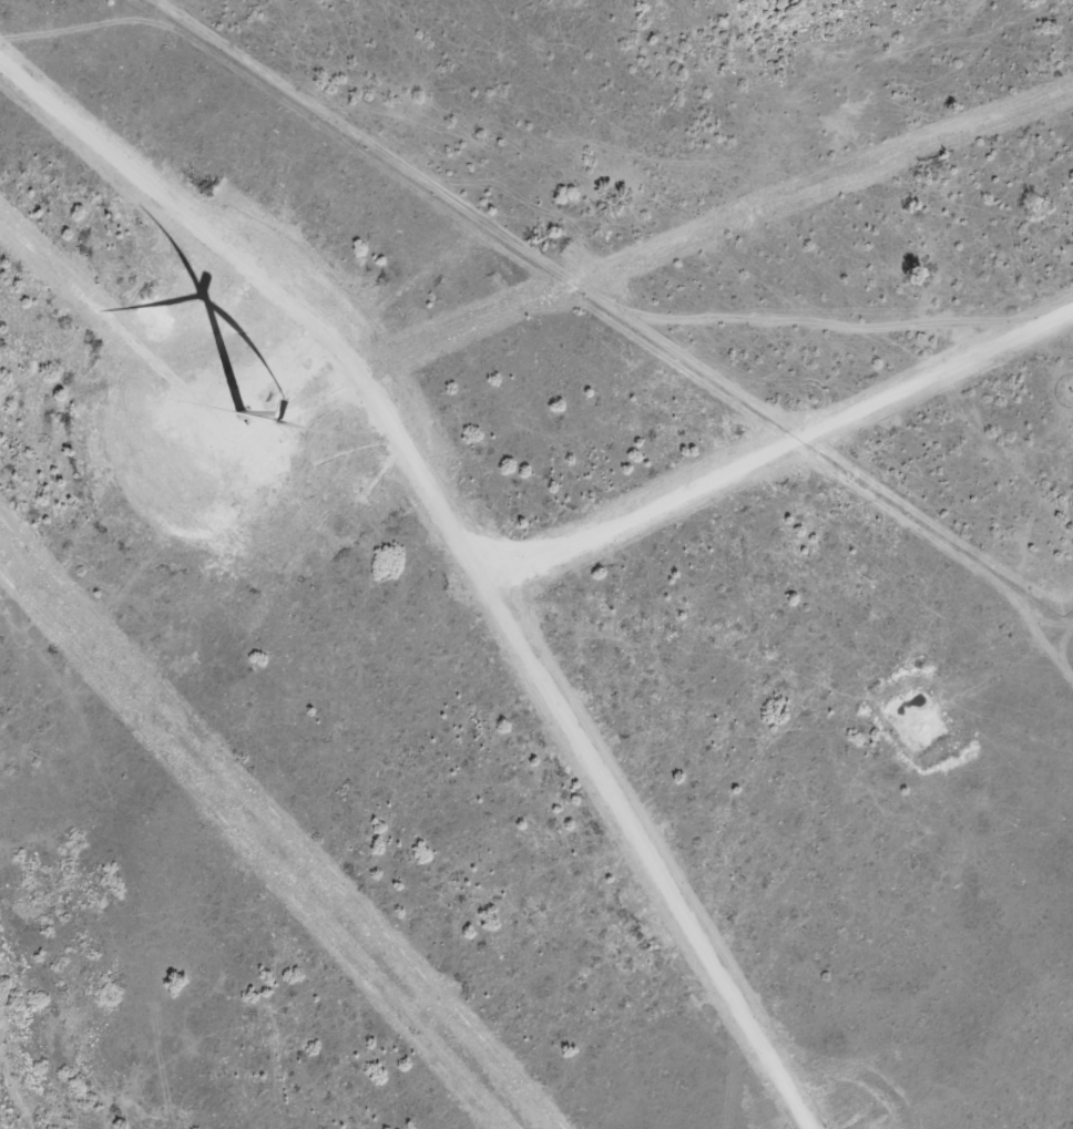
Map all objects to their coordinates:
road: (147, 37)
road: (814, 181)
wind turbine: (231, 398)
road: (136, 851)

